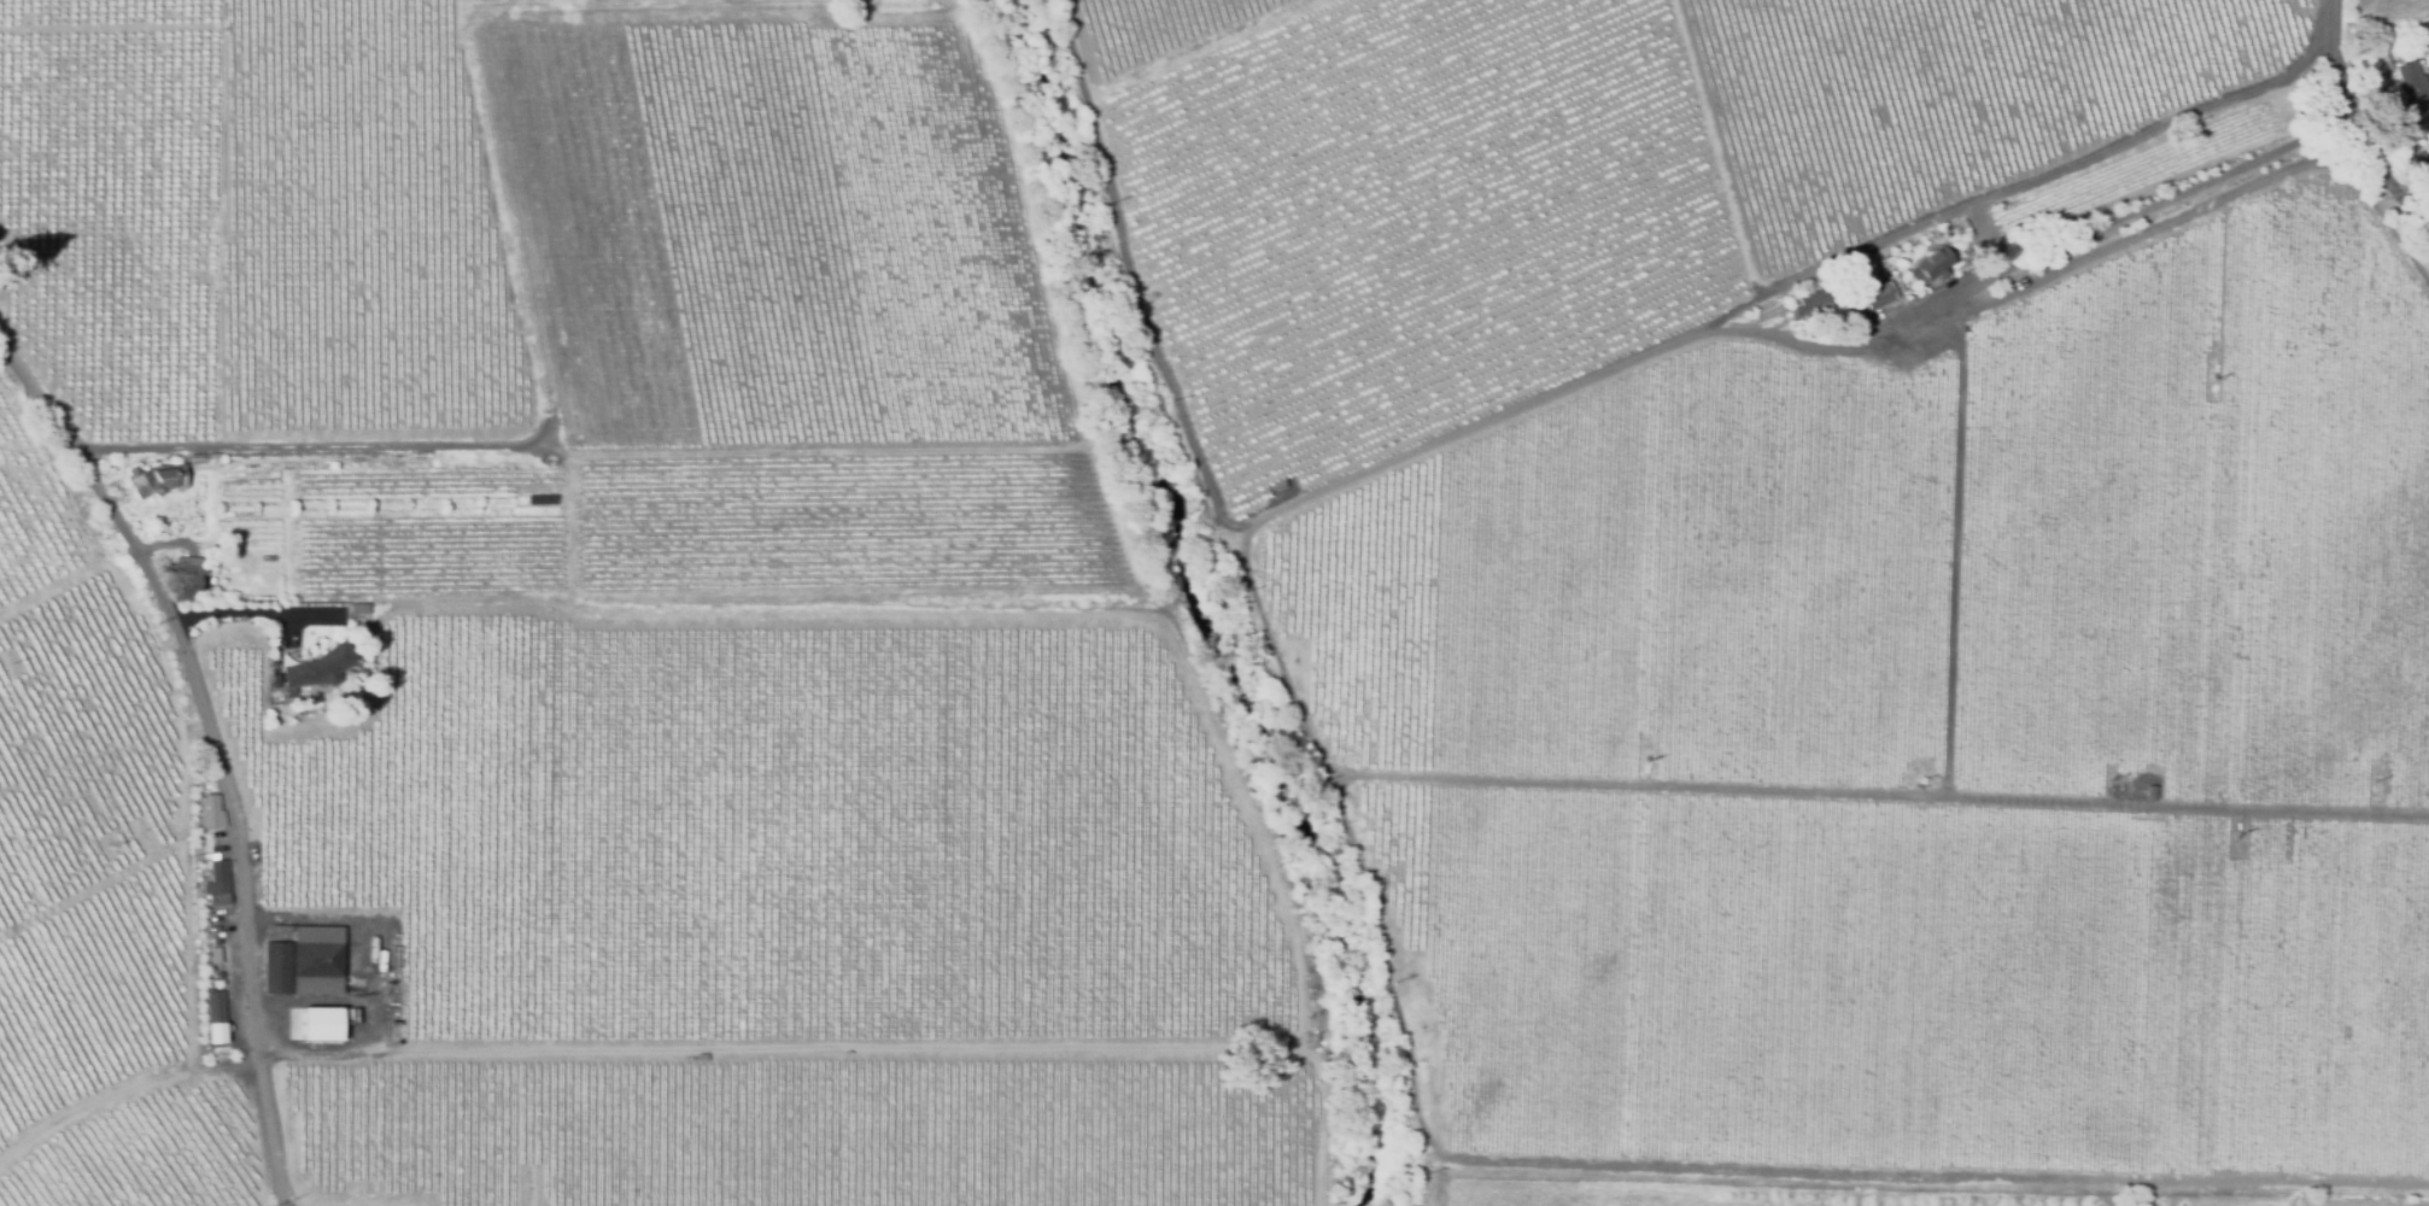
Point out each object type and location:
building: (2428, 23)
road: (2336, 49)
building: (2380, 60)
building: (2415, 95)
building: (2402, 151)
road: (2380, 163)
road: (2023, 186)
road: (2100, 221)
building: (1932, 267)
building: (1877, 298)
building: (1820, 304)
road: (299, 445)
building: (203, 457)
building: (154, 479)
road: (1284, 509)
road: (209, 554)
building: (186, 582)
road: (247, 613)
building: (281, 655)
building: (322, 666)
road: (216, 748)
building: (2150, 792)
building: (209, 813)
building: (217, 882)
building: (213, 941)
building: (213, 956)
building: (304, 964)
building: (216, 977)
building: (213, 1009)
building: (320, 1023)

